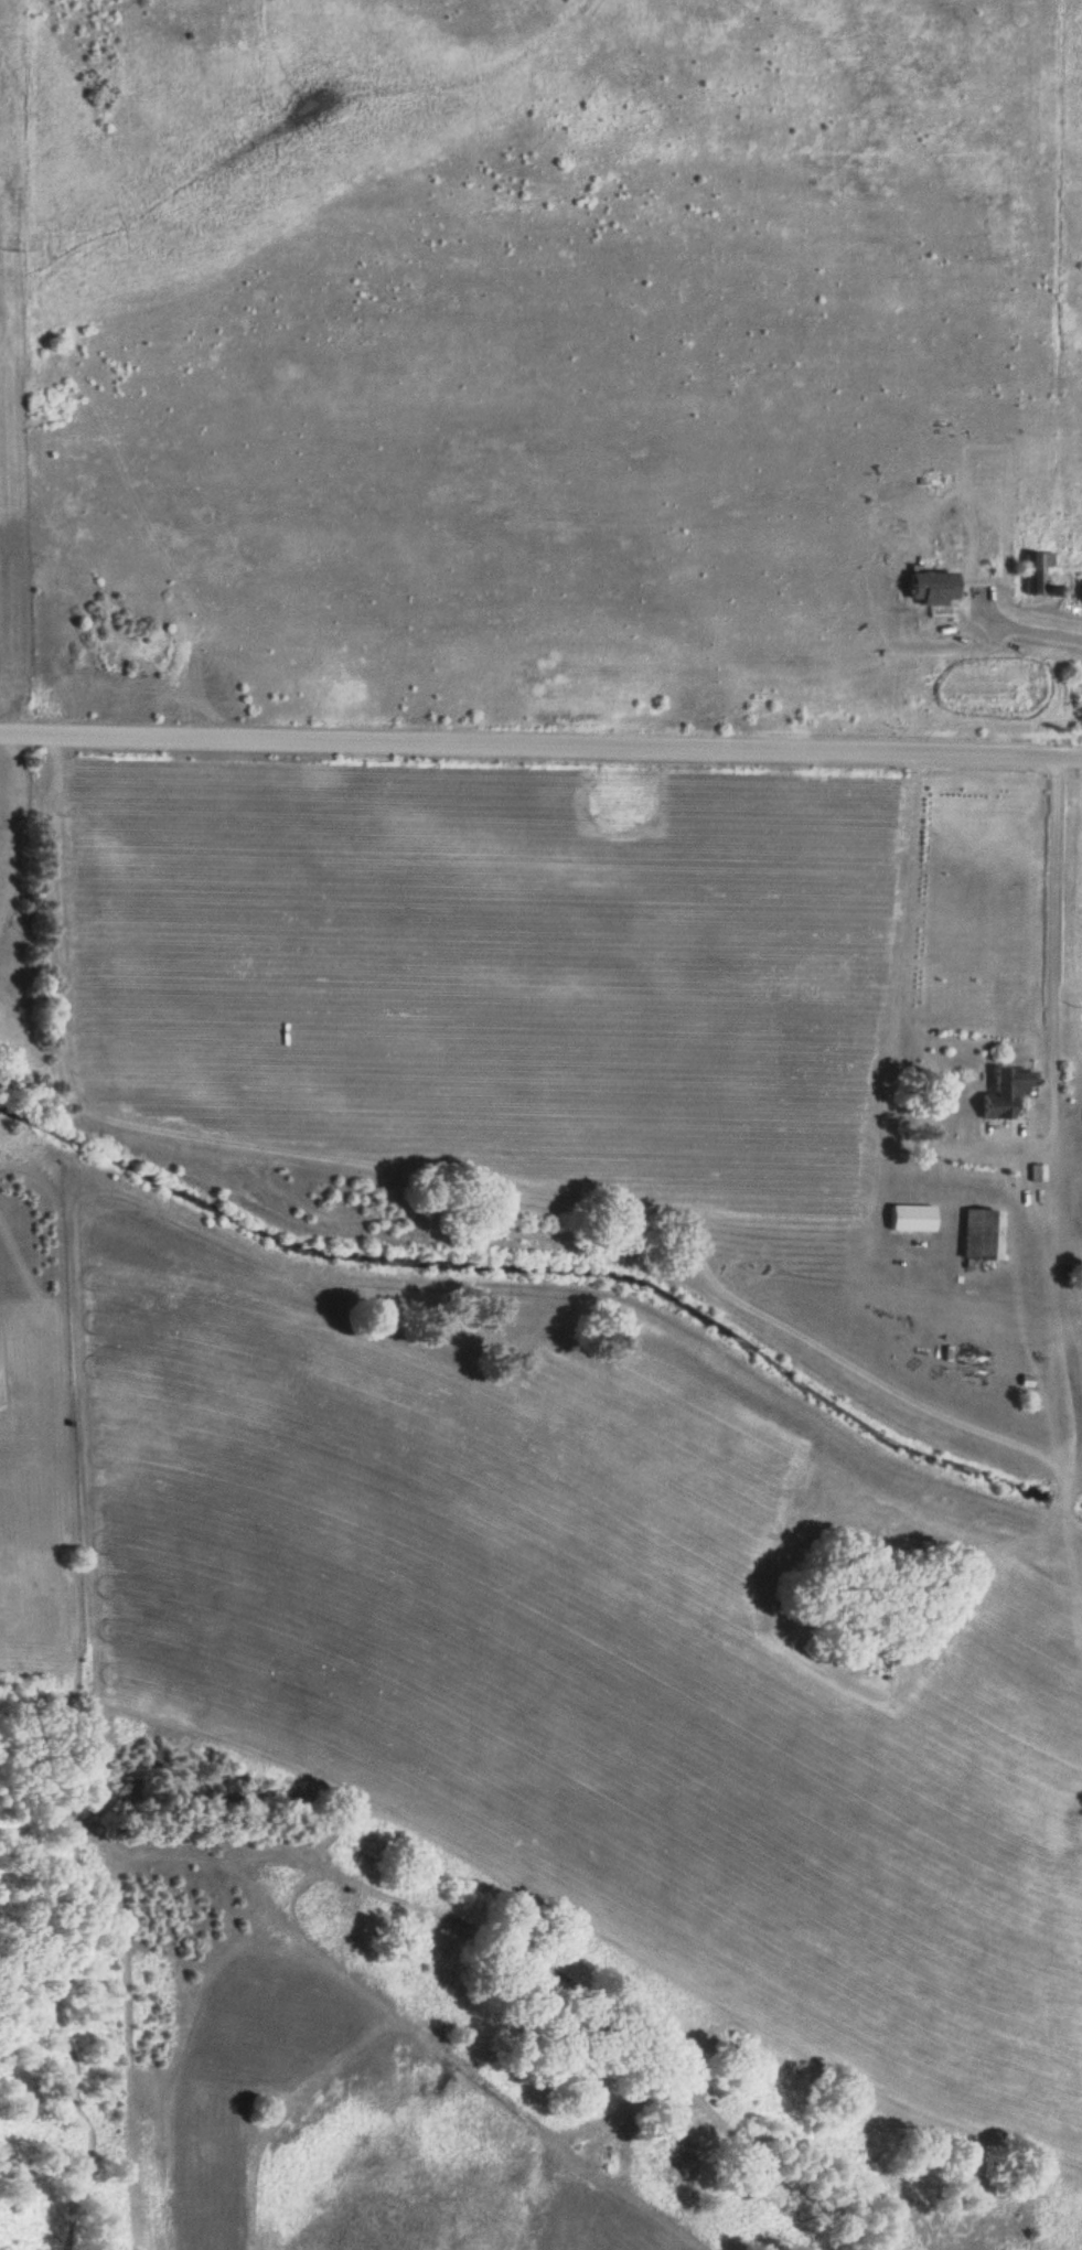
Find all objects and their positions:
building: (1037, 572)
building: (924, 587)
building: (1080, 592)
road: (540, 751)
building: (1001, 1091)
building: (912, 1218)
building: (979, 1234)

